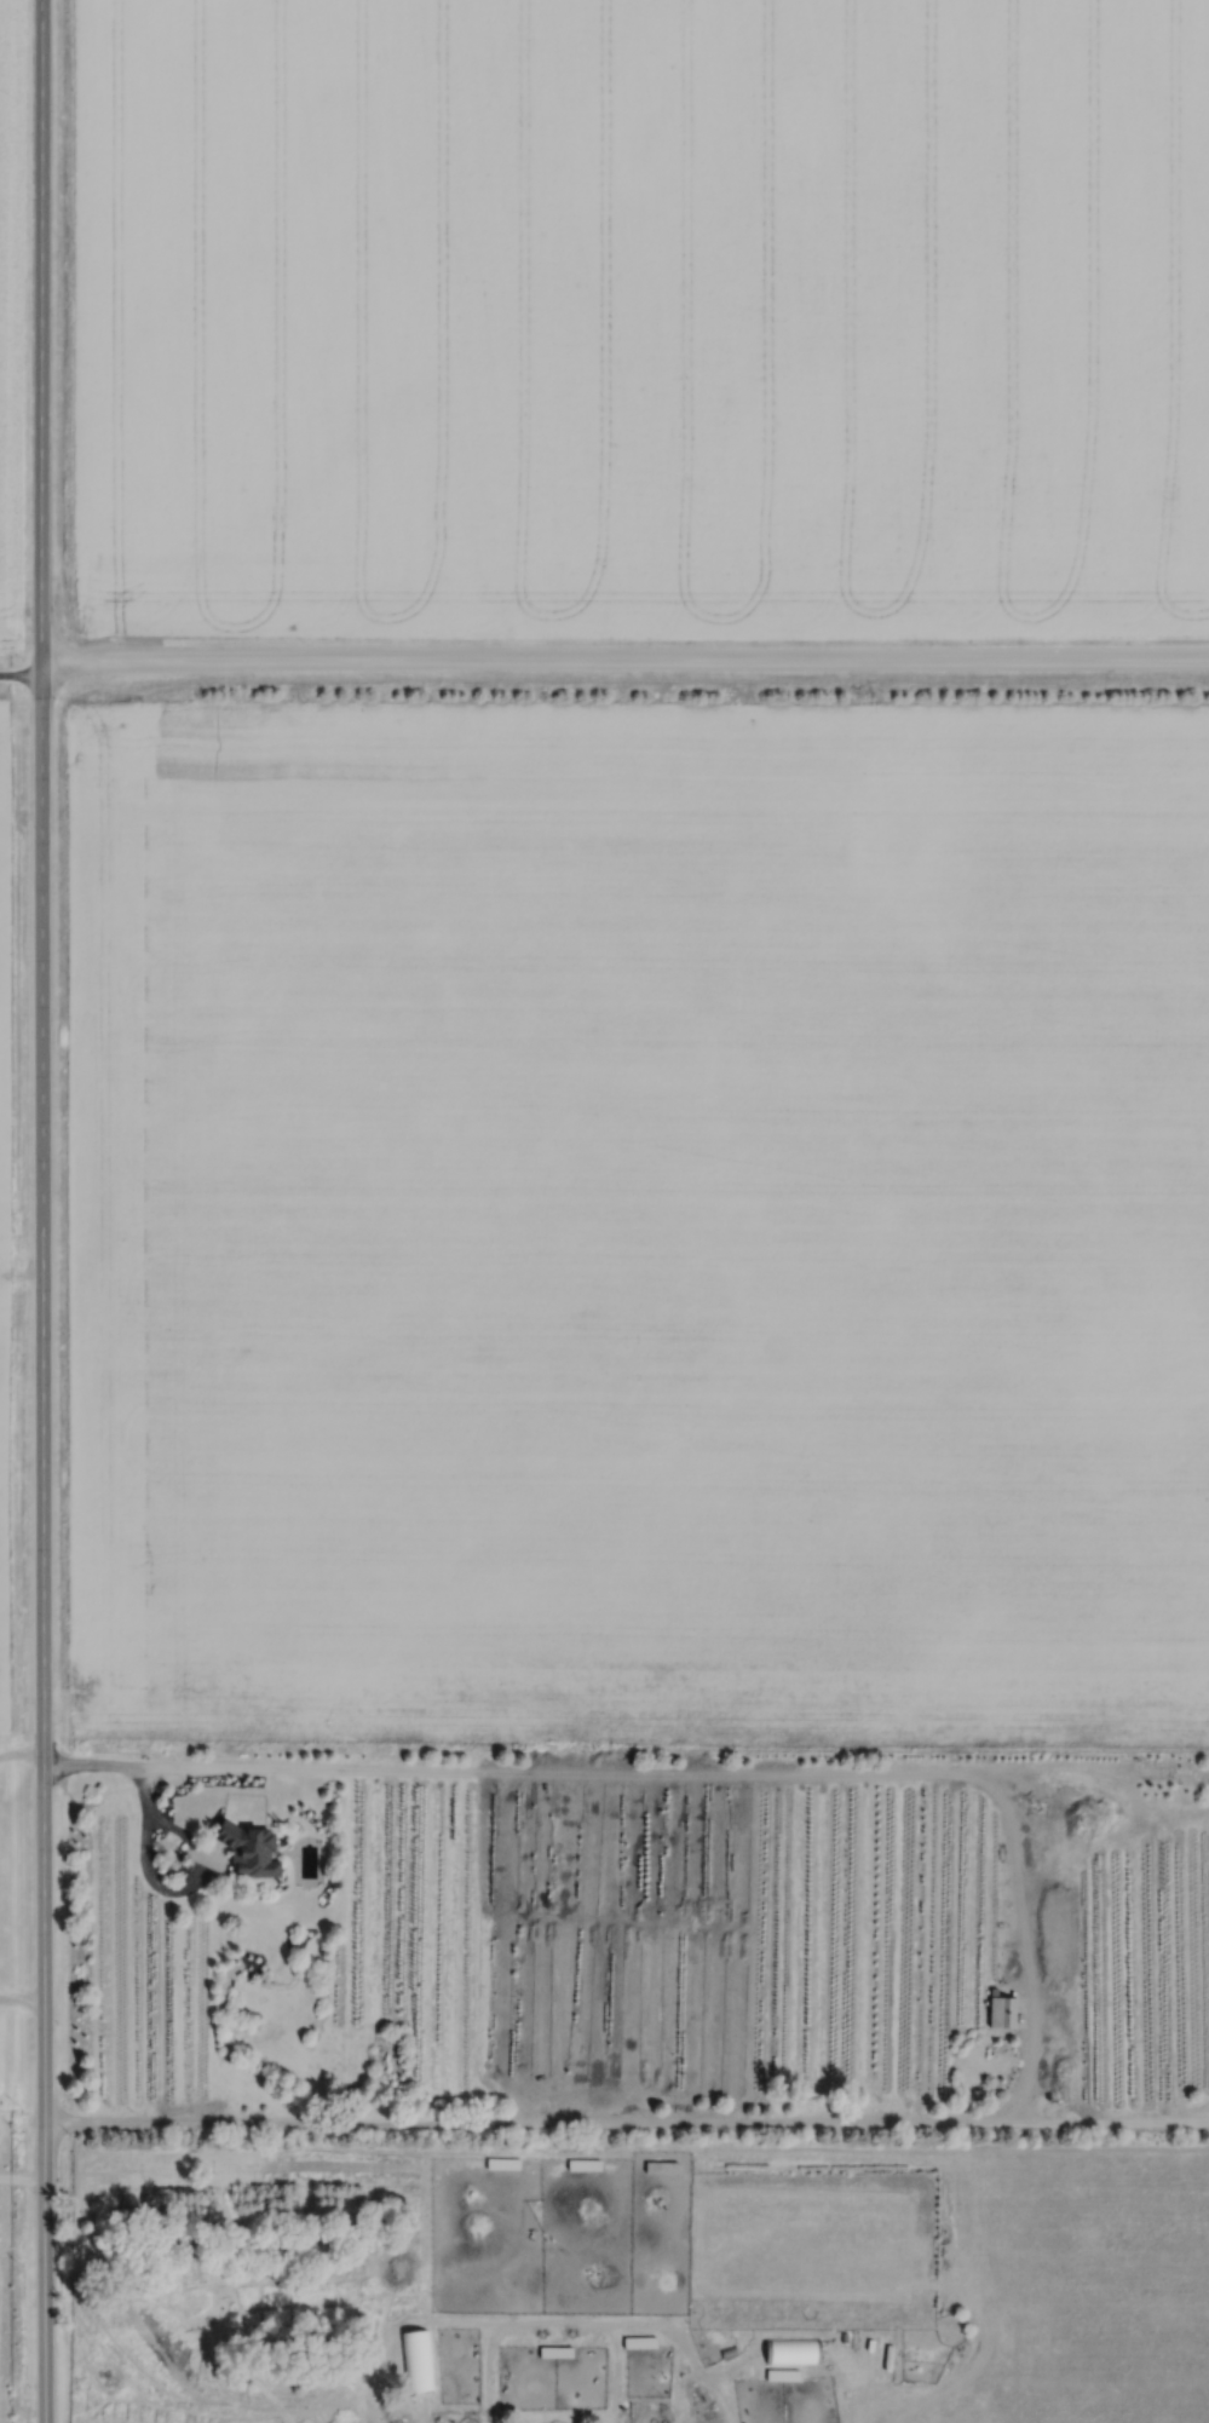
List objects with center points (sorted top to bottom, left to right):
road: (624, 657)
road: (21, 673)
road: (41, 1211)
road: (21, 1749)
road: (739, 1778)
building: (251, 1847)
road: (145, 1848)
road: (22, 1993)
building: (1002, 2012)
road: (626, 2119)
road: (22, 2176)
building: (640, 2342)
building: (793, 2349)
building: (418, 2360)
building: (587, 2360)
building: (783, 2375)

